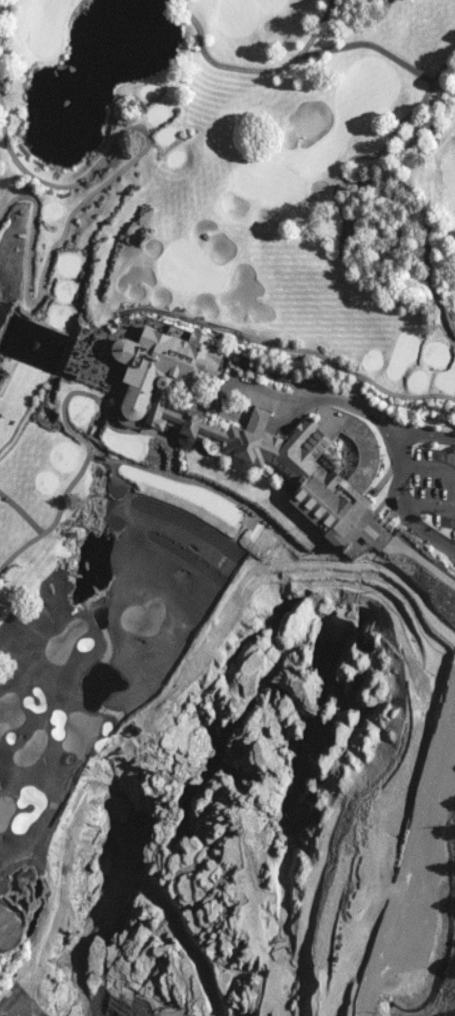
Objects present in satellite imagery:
road: (1, 5)
road: (251, 68)
road: (354, 182)
road: (101, 184)
building: (286, 251)
building: (336, 272)
building: (184, 324)
road: (290, 348)
building: (168, 365)
road: (240, 389)
road: (100, 403)
road: (362, 414)
road: (290, 417)
road: (256, 427)
road: (98, 457)
building: (287, 464)
road: (401, 484)
road: (211, 487)
park: (143, 497)
road: (54, 519)
road: (416, 555)
quarry: (259, 789)

